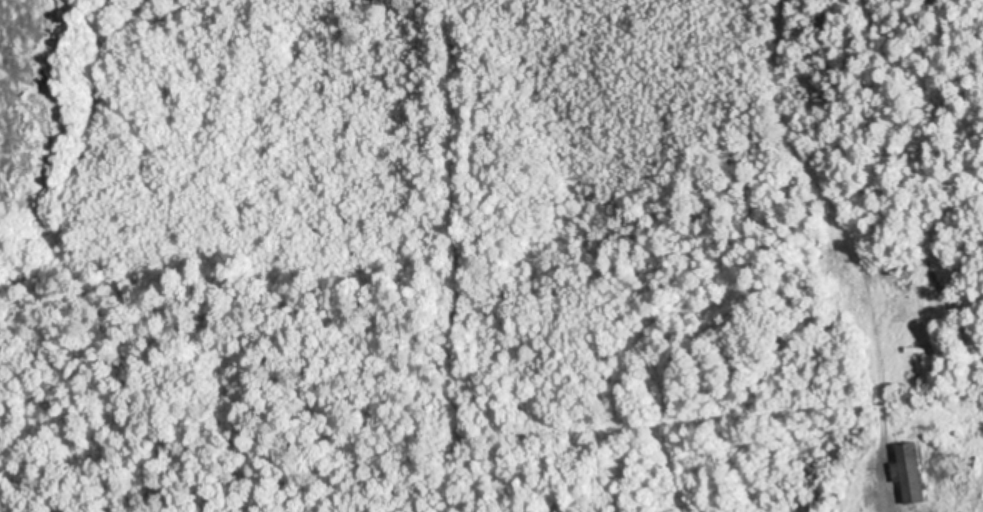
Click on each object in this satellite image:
road: (883, 425)
building: (910, 475)

